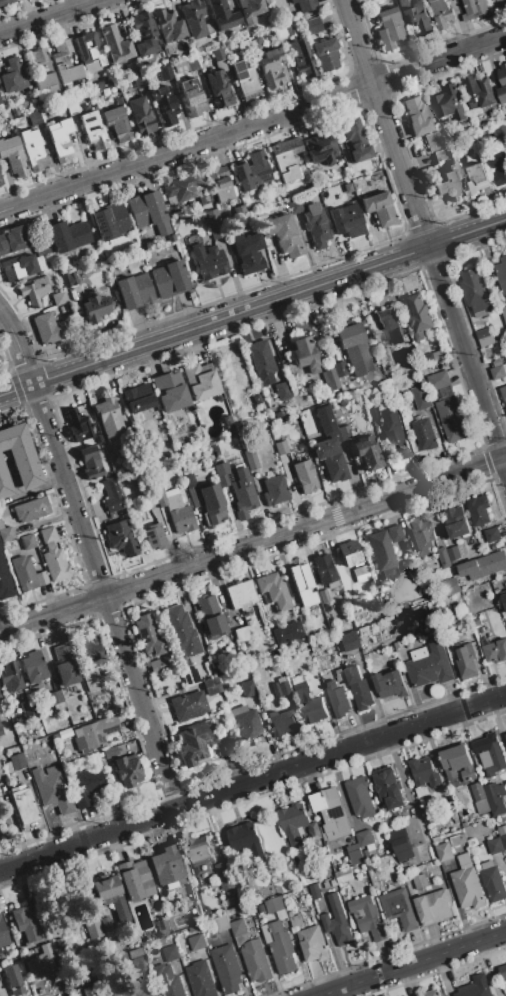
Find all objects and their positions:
building: (5, 1)
building: (374, 1)
building: (502, 1)
building: (305, 4)
building: (251, 7)
building: (475, 9)
building: (442, 14)
building: (223, 15)
building: (416, 15)
road: (46, 16)
building: (194, 18)
building: (312, 25)
building: (168, 26)
building: (389, 29)
building: (210, 30)
building: (144, 33)
building: (256, 41)
building: (115, 44)
building: (243, 45)
building: (198, 50)
building: (90, 52)
building: (218, 54)
building: (326, 54)
building: (301, 57)
building: (64, 63)
building: (192, 63)
building: (180, 66)
building: (42, 68)
building: (271, 68)
building: (165, 73)
building: (13, 76)
building: (245, 79)
building: (139, 82)
building: (97, 85)
building: (502, 85)
building: (219, 89)
building: (480, 93)
building: (192, 97)
building: (41, 103)
building: (450, 103)
building: (164, 105)
building: (72, 107)
building: (13, 110)
building: (8, 115)
building: (140, 115)
building: (417, 115)
building: (34, 117)
building: (117, 122)
road: (252, 122)
building: (92, 130)
building: (501, 135)
building: (60, 140)
building: (434, 140)
building: (356, 141)
building: (321, 149)
building: (32, 150)
building: (13, 155)
building: (440, 155)
building: (286, 158)
building: (425, 160)
building: (499, 168)
building: (252, 170)
building: (474, 180)
building: (1, 181)
building: (219, 183)
building: (184, 185)
building: (447, 186)
building: (295, 205)
building: (379, 208)
building: (173, 211)
building: (148, 212)
building: (347, 220)
building: (110, 221)
building: (214, 223)
building: (316, 225)
road: (466, 232)
building: (282, 234)
building: (67, 235)
road: (423, 236)
building: (13, 239)
building: (168, 239)
building: (41, 248)
building: (248, 252)
building: (208, 261)
building: (18, 267)
building: (502, 273)
building: (68, 278)
building: (169, 278)
building: (34, 290)
building: (133, 290)
building: (476, 292)
building: (59, 298)
building: (95, 307)
building: (504, 313)
building: (418, 316)
road: (213, 320)
building: (389, 325)
building: (47, 328)
building: (485, 338)
building: (353, 344)
building: (303, 352)
building: (438, 356)
building: (261, 361)
building: (504, 361)
building: (505, 368)
building: (498, 373)
building: (334, 374)
building: (439, 381)
building: (200, 382)
building: (282, 390)
building: (169, 391)
building: (504, 394)
building: (138, 398)
building: (257, 398)
building: (421, 398)
building: (401, 406)
building: (374, 412)
building: (429, 412)
building: (451, 417)
building: (110, 418)
building: (325, 419)
building: (77, 426)
building: (344, 432)
building: (395, 435)
building: (425, 436)
building: (381, 437)
building: (280, 447)
building: (368, 453)
building: (20, 454)
building: (250, 458)
building: (330, 459)
building: (91, 465)
building: (304, 476)
building: (4, 480)
building: (237, 487)
building: (191, 489)
building: (274, 490)
building: (111, 495)
building: (159, 496)
building: (212, 504)
building: (152, 506)
building: (31, 509)
building: (3, 511)
building: (479, 511)
building: (179, 512)
building: (456, 523)
building: (1, 524)
building: (394, 533)
building: (6, 534)
building: (422, 536)
building: (492, 536)
building: (154, 537)
building: (120, 538)
building: (22, 543)
road: (253, 544)
building: (1, 545)
building: (349, 553)
building: (456, 554)
building: (381, 555)
building: (53, 557)
building: (444, 558)
road: (92, 561)
building: (483, 566)
building: (324, 570)
building: (22, 573)
building: (360, 574)
building: (4, 580)
building: (302, 585)
building: (452, 586)
building: (273, 590)
building: (240, 594)
building: (323, 596)
building: (504, 600)
building: (328, 608)
building: (211, 616)
building: (300, 617)
building: (477, 624)
building: (365, 628)
building: (181, 633)
building: (287, 633)
building: (241, 634)
building: (148, 635)
building: (347, 641)
building: (398, 645)
building: (91, 650)
building: (494, 651)
building: (467, 663)
building: (64, 665)
building: (158, 665)
building: (219, 666)
building: (429, 666)
building: (34, 667)
building: (189, 675)
building: (339, 675)
building: (9, 677)
building: (91, 679)
building: (245, 682)
building: (390, 684)
building: (211, 686)
building: (280, 687)
building: (36, 689)
building: (359, 689)
building: (54, 697)
building: (337, 700)
building: (188, 705)
building: (309, 706)
building: (23, 710)
building: (280, 721)
building: (246, 725)
building: (1, 730)
building: (95, 732)
building: (505, 736)
building: (202, 744)
building: (109, 752)
building: (490, 755)
building: (14, 763)
building: (457, 764)
building: (127, 771)
building: (424, 773)
building: (1, 774)
road: (253, 783)
building: (86, 786)
building: (51, 790)
building: (389, 790)
building: (478, 793)
building: (360, 798)
building: (495, 799)
building: (23, 805)
building: (331, 814)
building: (293, 824)
building: (502, 836)
building: (364, 839)
building: (247, 841)
building: (458, 841)
building: (401, 845)
building: (495, 847)
building: (444, 853)
building: (200, 855)
building: (355, 855)
building: (166, 866)
building: (224, 877)
building: (344, 877)
building: (135, 880)
building: (492, 882)
building: (420, 883)
building: (326, 885)
building: (467, 885)
building: (315, 892)
building: (110, 894)
building: (189, 901)
building: (274, 905)
building: (238, 906)
building: (433, 908)
building: (399, 910)
building: (167, 912)
building: (368, 919)
building: (296, 922)
building: (337, 922)
building: (222, 924)
building: (24, 925)
building: (107, 927)
building: (164, 928)
building: (238, 928)
building: (92, 929)
building: (2, 933)
building: (196, 943)
building: (313, 945)
building: (280, 948)
building: (170, 954)
building: (132, 961)
building: (40, 962)
building: (256, 962)
road: (410, 962)
building: (227, 969)
building: (503, 973)
building: (13, 980)
building: (201, 980)
building: (169, 981)
building: (476, 988)
building: (88, 990)
building: (138, 990)
building: (432, 993)

